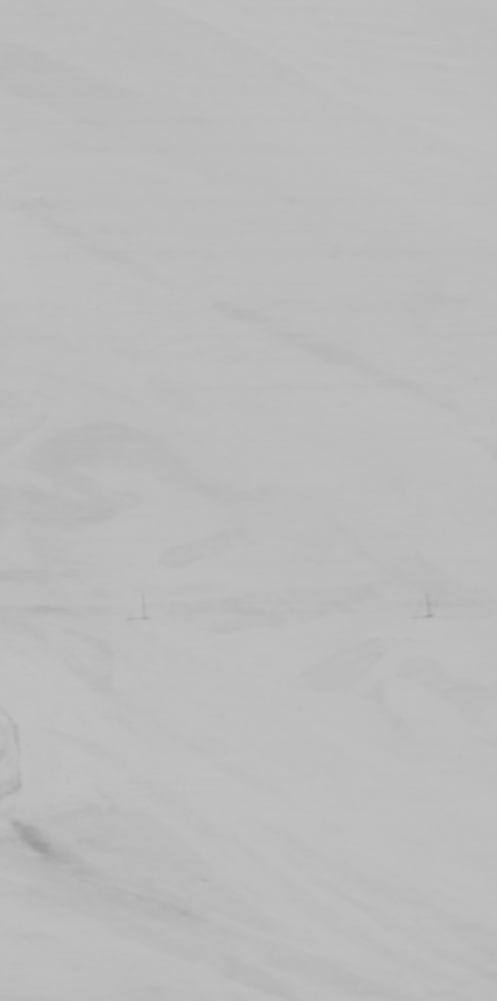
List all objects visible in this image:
power tower: (430, 615)
power tower: (146, 616)

